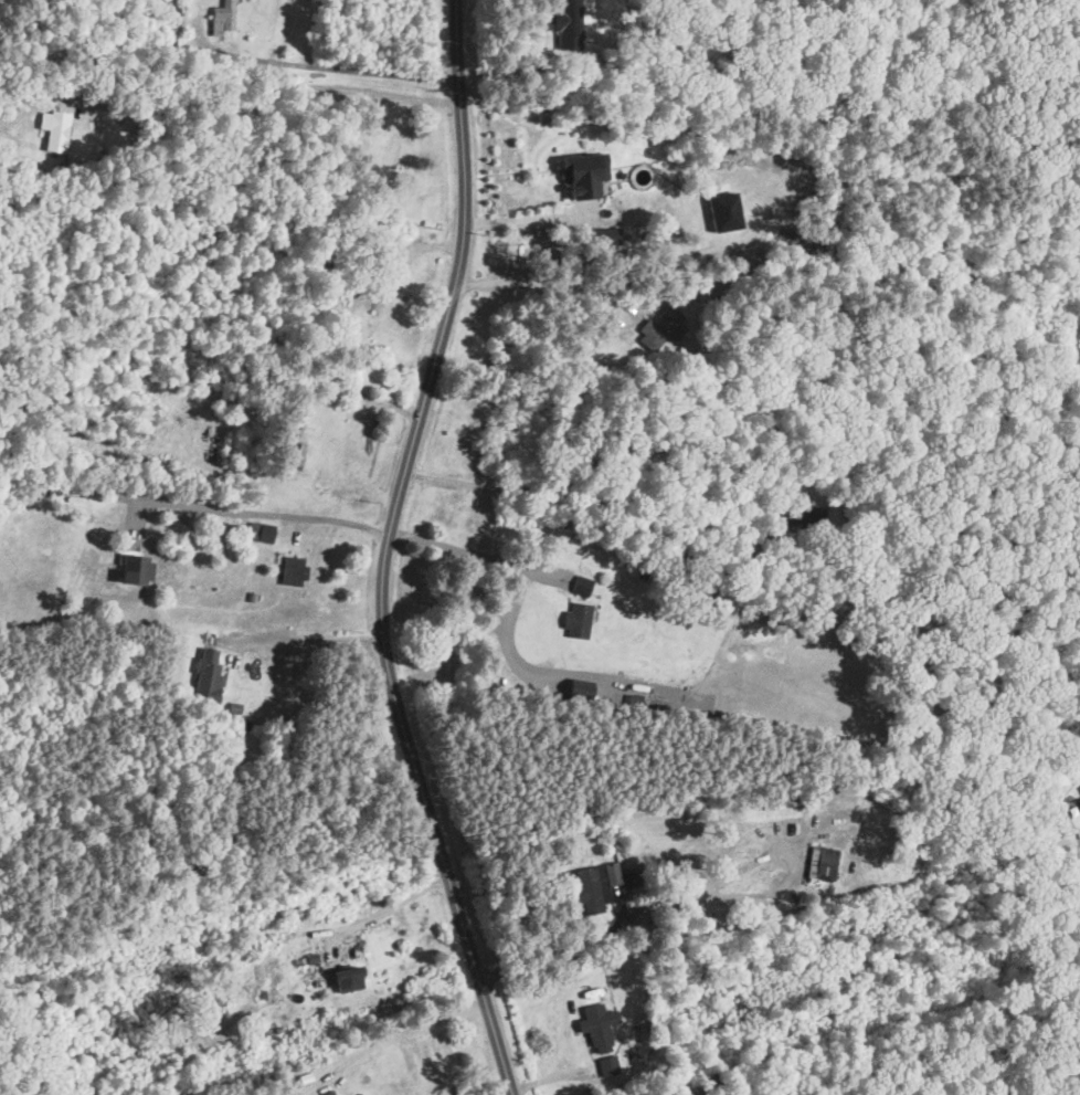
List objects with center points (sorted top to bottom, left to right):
building: (222, 15)
road: (339, 66)
road: (266, 94)
building: (52, 131)
building: (580, 175)
road: (523, 215)
road: (414, 244)
building: (322, 260)
road: (547, 283)
building: (659, 328)
building: (316, 380)
road: (581, 497)
building: (801, 514)
road: (301, 515)
building: (258, 531)
road: (389, 550)
road: (518, 568)
building: (290, 571)
building: (579, 583)
building: (574, 620)
road: (309, 640)
building: (205, 674)
building: (1079, 788)
building: (776, 801)
building: (1079, 801)
building: (819, 862)
building: (590, 886)
road: (695, 895)
road: (390, 905)
building: (345, 980)
building: (596, 1026)
road: (409, 1030)
building: (415, 1061)
building: (607, 1064)

